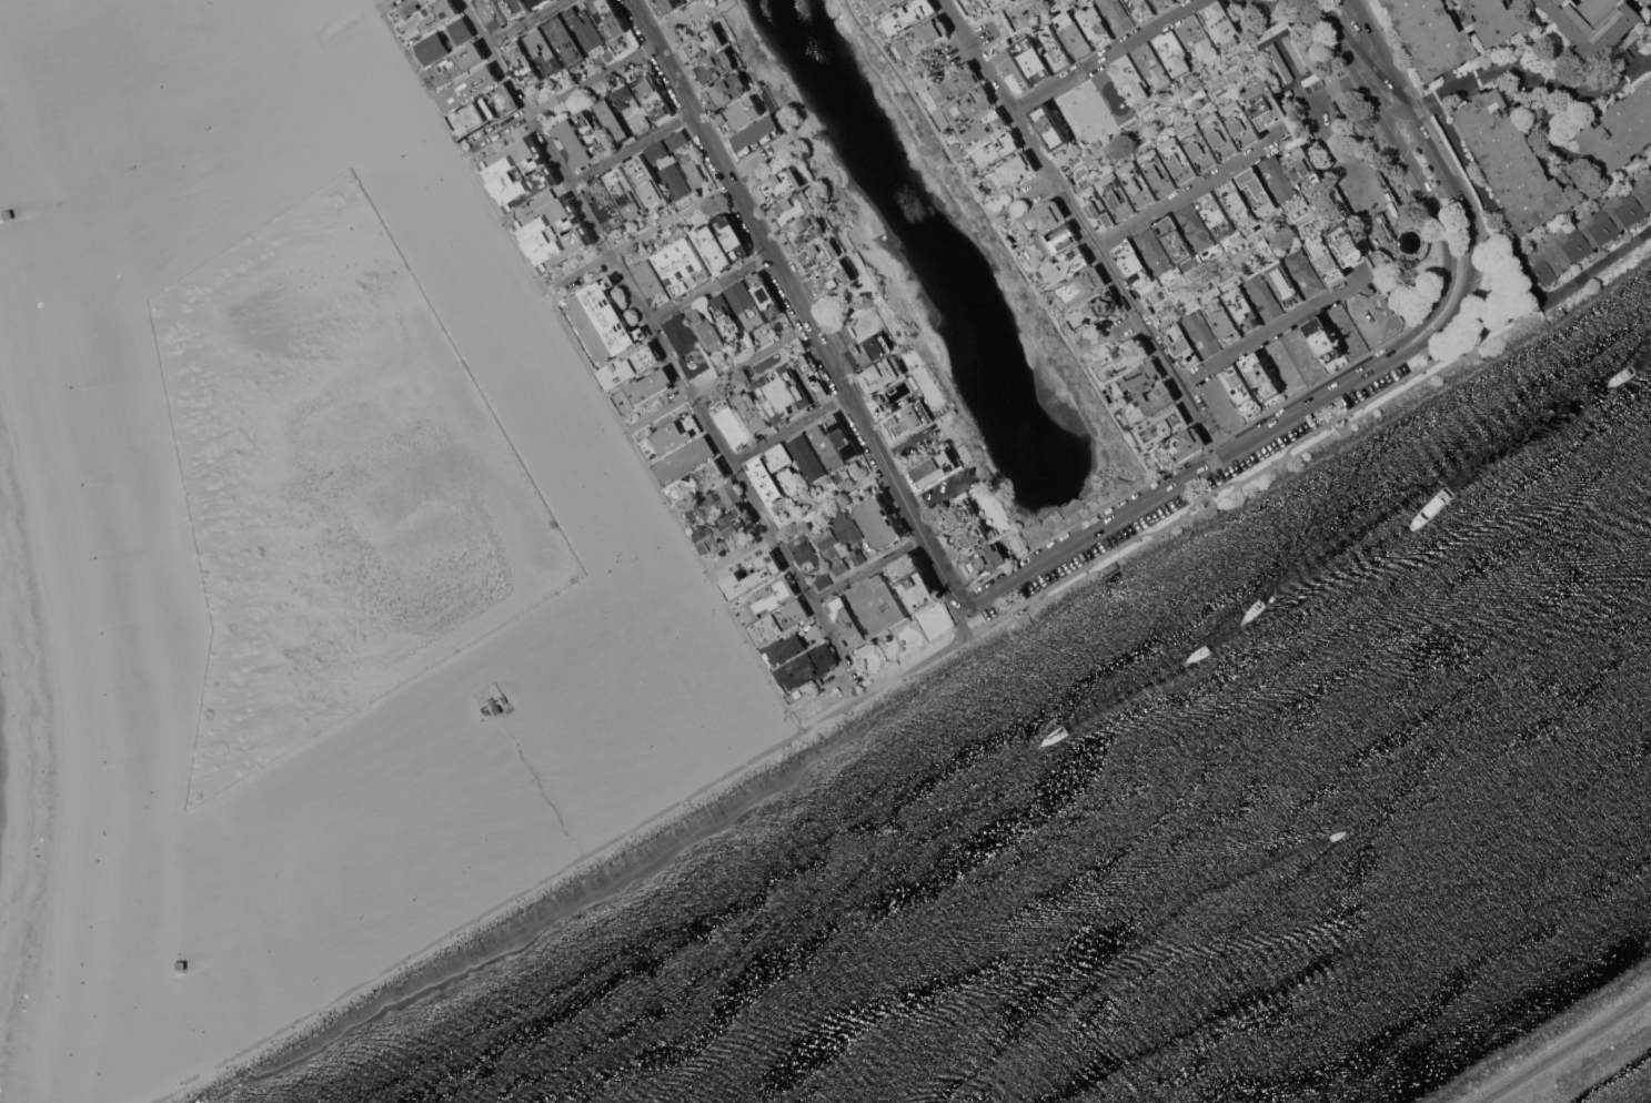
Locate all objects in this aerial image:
building: (985, 0)
building: (990, 0)
road: (371, 1)
road: (381, 1)
road: (395, 2)
building: (537, 2)
building: (1164, 3)
building: (883, 4)
building: (668, 6)
building: (516, 7)
road: (386, 8)
building: (1141, 9)
building: (493, 13)
building: (1117, 14)
building: (908, 16)
building: (608, 18)
building: (427, 19)
road: (524, 21)
road: (1001, 22)
building: (1095, 22)
building: (1221, 23)
building: (1595, 23)
building: (462, 30)
building: (585, 30)
building: (1451, 30)
building: (1075, 33)
building: (923, 38)
building: (1198, 38)
building: (564, 39)
building: (702, 44)
road: (648, 47)
building: (1055, 47)
building: (432, 49)
building: (544, 52)
building: (1174, 52)
road: (1106, 55)
building: (1033, 59)
building: (522, 63)
building: (455, 64)
building: (1152, 64)
building: (715, 68)
parking lot: (1311, 70)
building: (1013, 71)
building: (1131, 77)
road: (1532, 77)
building: (955, 82)
building: (469, 88)
road: (999, 90)
building: (727, 91)
building: (653, 97)
road: (556, 98)
building: (1265, 104)
road: (1438, 104)
building: (968, 105)
building: (632, 109)
building: (484, 110)
park: (1089, 110)
building: (739, 114)
road: (1398, 115)
building: (612, 120)
building: (1241, 123)
road: (1331, 124)
building: (1049, 127)
road: (1144, 127)
building: (983, 128)
building: (1620, 131)
building: (759, 133)
building: (1221, 135)
building: (581, 139)
building: (676, 139)
road: (466, 145)
building: (1200, 146)
road: (632, 148)
building: (996, 150)
building: (657, 151)
road: (758, 159)
building: (1179, 160)
building: (1511, 161)
building: (1303, 169)
building: (1159, 171)
building: (693, 172)
building: (519, 173)
building: (1010, 173)
road: (1419, 175)
building: (1278, 178)
building: (674, 180)
road: (1449, 180)
building: (647, 182)
building: (1139, 183)
building: (779, 185)
parking lot: (1377, 189)
building: (1258, 190)
road: (1190, 192)
building: (626, 193)
building: (1117, 195)
road: (1396, 199)
building: (1238, 202)
building: (604, 204)
road: (1493, 205)
building: (1097, 208)
building: (792, 209)
road: (1419, 210)
building: (1217, 214)
road: (671, 216)
building: (1038, 220)
building: (1196, 227)
building: (1592, 230)
building: (804, 232)
building: (554, 233)
building: (732, 236)
building: (1176, 239)
road: (1006, 243)
building: (1050, 243)
building: (1345, 243)
building: (712, 247)
building: (1155, 251)
building: (817, 255)
building: (1326, 260)
building: (1134, 262)
road: (1226, 264)
road: (1598, 264)
road: (616, 265)
building: (682, 265)
building: (1064, 266)
road: (582, 270)
building: (1306, 272)
building: (830, 277)
building: (650, 282)
building: (1285, 283)
road: (1420, 285)
road: (711, 286)
road: (551, 287)
building: (1079, 287)
road: (1416, 289)
road: (1510, 292)
building: (764, 294)
building: (1265, 296)
road: (797, 301)
building: (747, 306)
building: (1244, 308)
building: (1094, 311)
road: (1138, 317)
building: (726, 318)
building: (601, 321)
building: (1224, 321)
building: (706, 331)
road: (1271, 331)
building: (1202, 333)
road: (1106, 335)
building: (1322, 338)
building: (686, 344)
building: (1182, 344)
road: (1433, 344)
building: (869, 351)
road: (751, 357)
building: (1121, 357)
building: (630, 365)
road: (590, 366)
building: (882, 374)
building: (1260, 376)
building: (807, 377)
building: (1137, 378)
building: (1240, 388)
building: (643, 389)
building: (783, 392)
road: (1323, 393)
road: (1312, 401)
building: (1149, 403)
road: (657, 409)
building: (752, 409)
road: (1335, 412)
building: (907, 419)
building: (732, 423)
building: (1161, 426)
road: (789, 427)
building: (672, 435)
building: (843, 436)
building: (826, 447)
building: (1178, 447)
road: (1200, 449)
building: (807, 457)
road: (1280, 457)
building: (685, 459)
building: (783, 465)
building: (935, 468)
park: (593, 476)
building: (764, 480)
building: (696, 482)
road: (1195, 485)
road: (1109, 486)
road: (1159, 488)
road: (828, 497)
building: (714, 499)
building: (958, 514)
building: (879, 522)
building: (846, 526)
building: (723, 528)
road: (1084, 533)
building: (974, 537)
building: (830, 547)
park: (645, 548)
road: (738, 549)
building: (805, 553)
building: (857, 556)
road: (1100, 557)
building: (986, 560)
park: (618, 563)
road: (867, 568)
road: (1018, 571)
building: (752, 576)
building: (822, 580)
building: (913, 581)
road: (1009, 594)
road: (808, 597)
building: (766, 598)
road: (962, 600)
building: (877, 603)
building: (778, 621)
building: (847, 623)
road: (962, 625)
road: (945, 648)
building: (783, 649)
building: (806, 666)
road: (818, 688)
building: (489, 695)
road: (476, 917)
building: (194, 968)
road: (1562, 1048)

